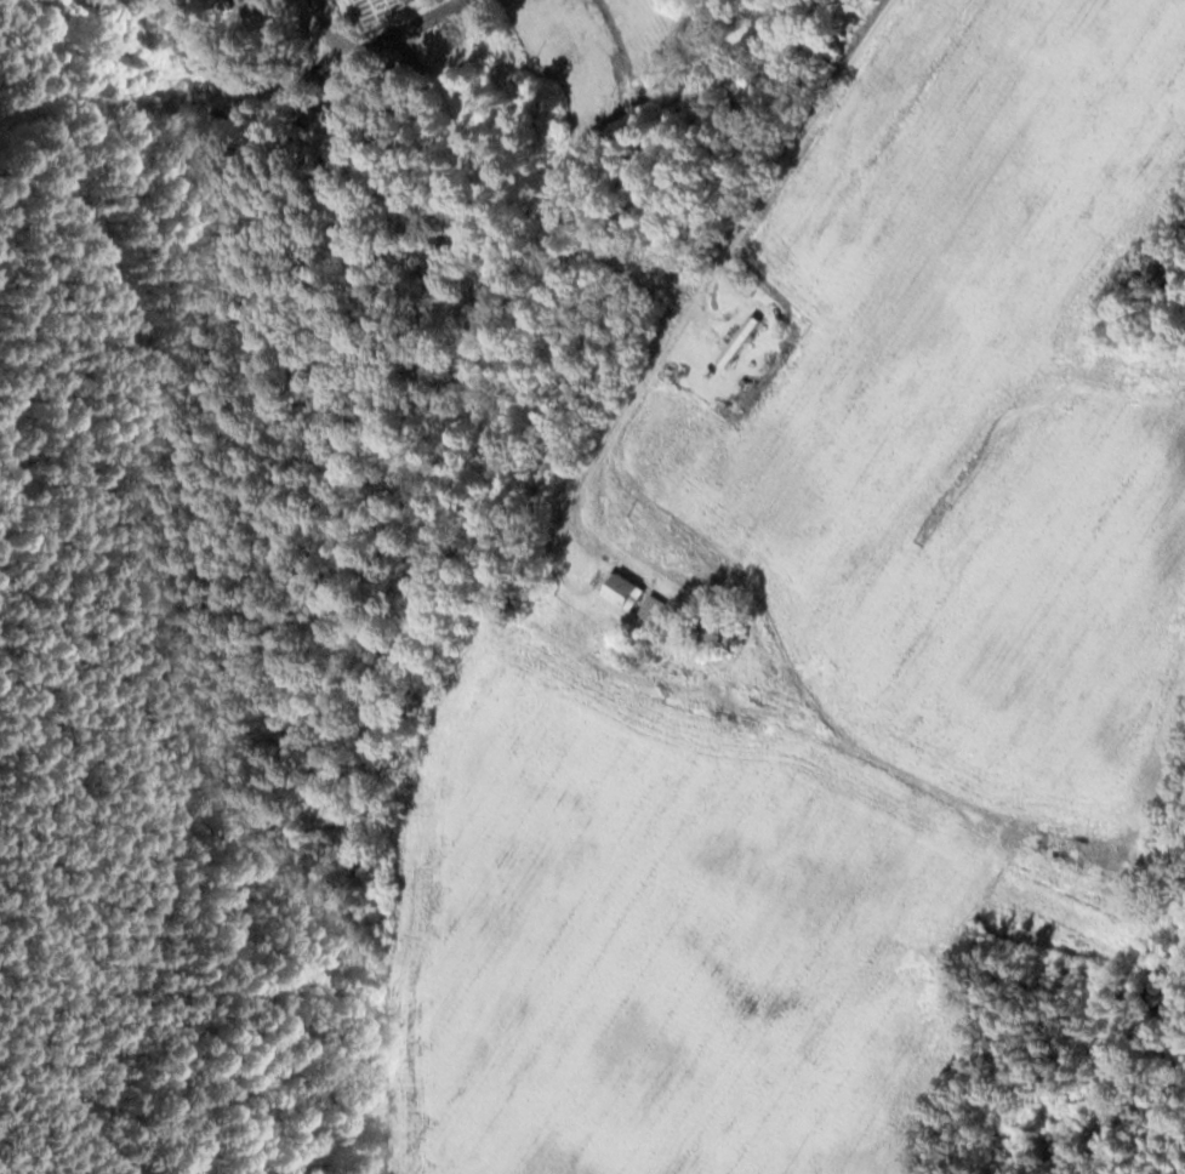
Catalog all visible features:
road: (332, 28)
road: (403, 28)
road: (619, 36)
building: (226, 45)
building: (340, 120)
road: (717, 262)
building: (741, 340)
building: (629, 591)
building: (656, 608)

